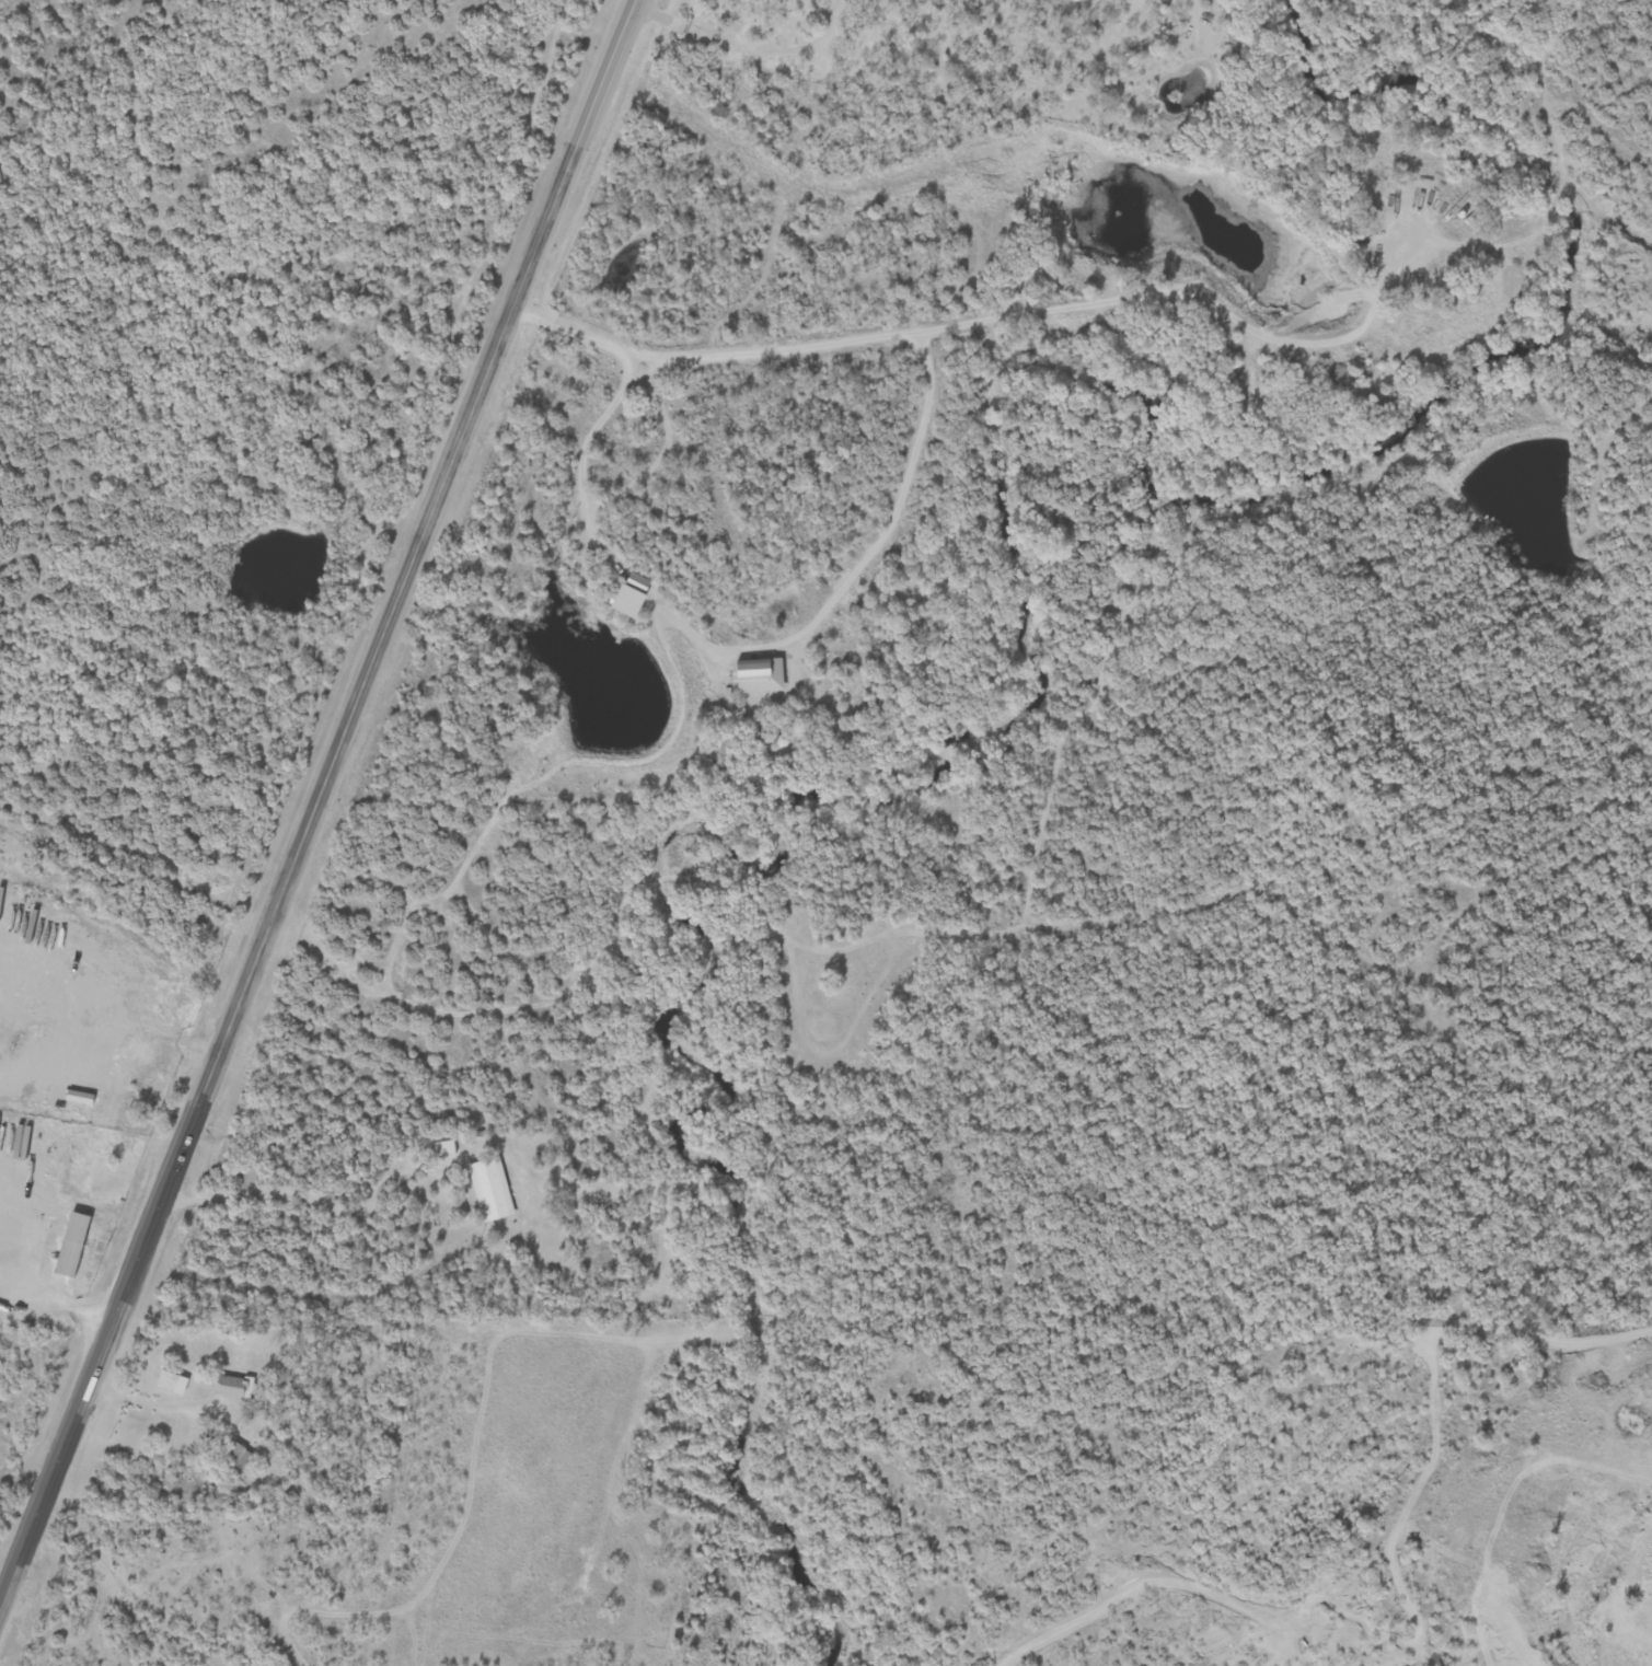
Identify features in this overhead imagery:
building: (624, 594)
road: (313, 798)
road: (166, 1038)
road: (59, 1056)
building: (444, 1148)
building: (492, 1190)
building: (77, 1245)
road: (54, 1303)
building: (174, 1381)
building: (236, 1387)
road: (139, 1398)
road: (1133, 1580)

